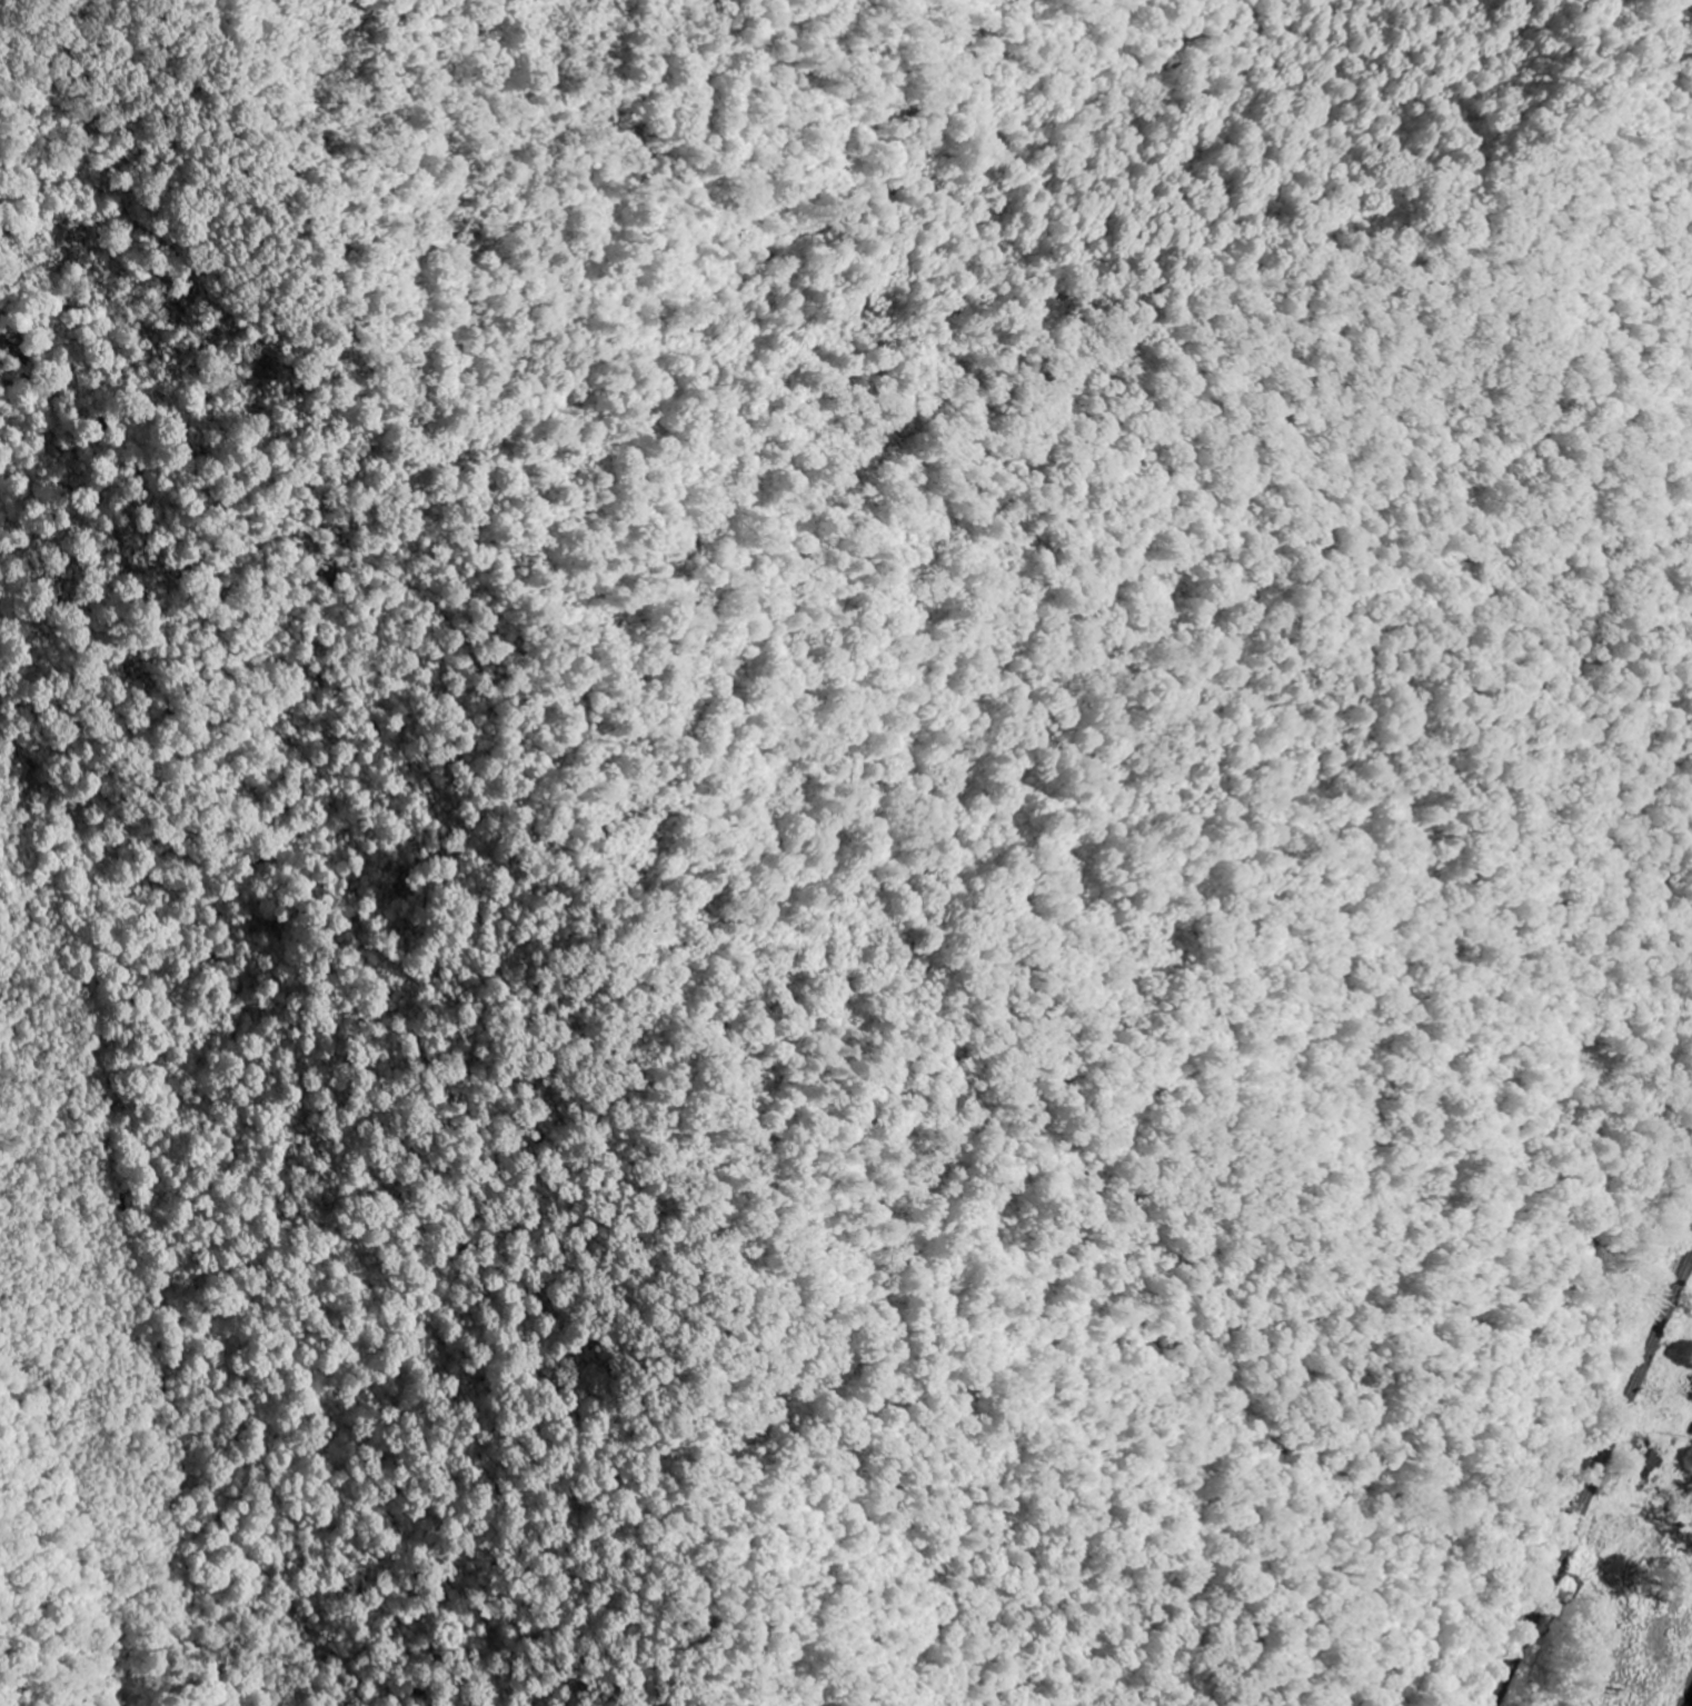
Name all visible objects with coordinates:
building: (1644, 1464)
railway: (1595, 1473)

